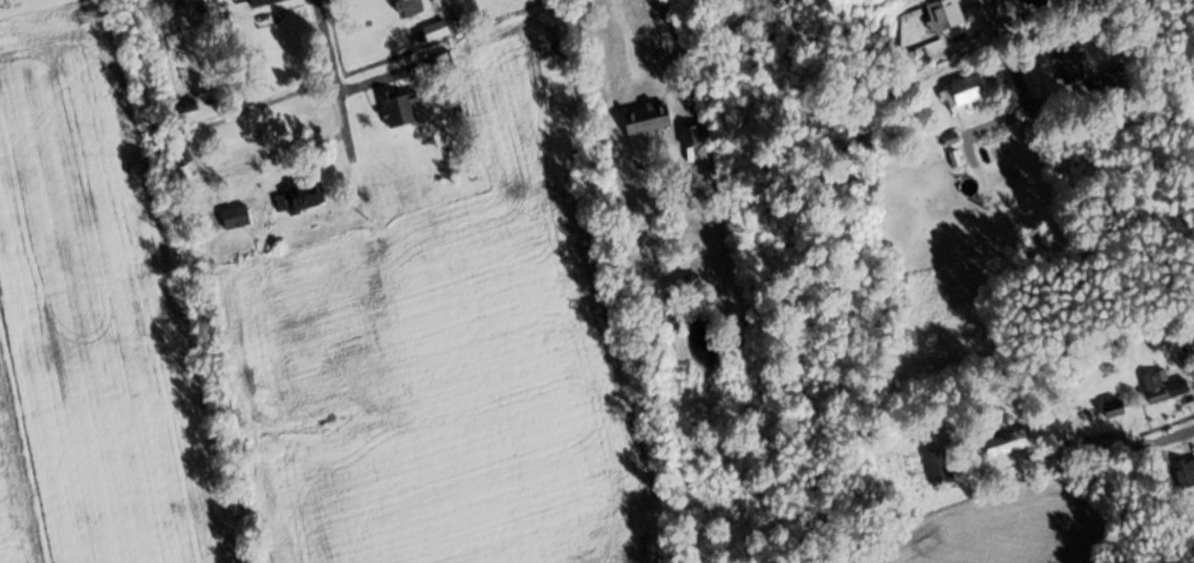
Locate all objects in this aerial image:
building: (261, 2)
building: (1032, 2)
building: (409, 7)
building: (946, 14)
building: (435, 30)
road: (991, 31)
road: (668, 42)
building: (915, 59)
building: (439, 61)
building: (1070, 64)
road: (327, 75)
building: (965, 93)
building: (400, 109)
building: (648, 119)
building: (691, 136)
building: (305, 198)
building: (235, 218)
building: (1163, 387)
building: (1113, 407)
road: (1176, 433)
building: (1006, 442)
building: (940, 467)
building: (1186, 473)

